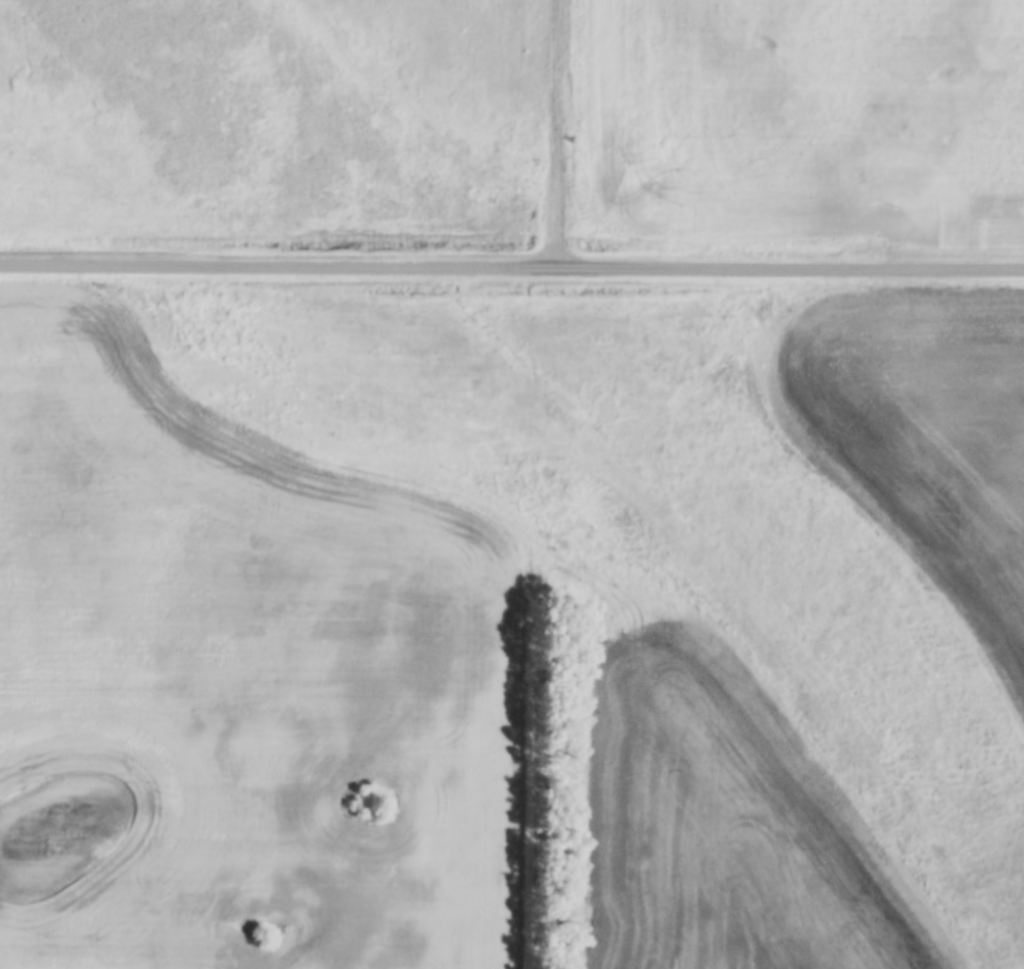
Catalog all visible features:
road: (555, 131)
road: (512, 263)

